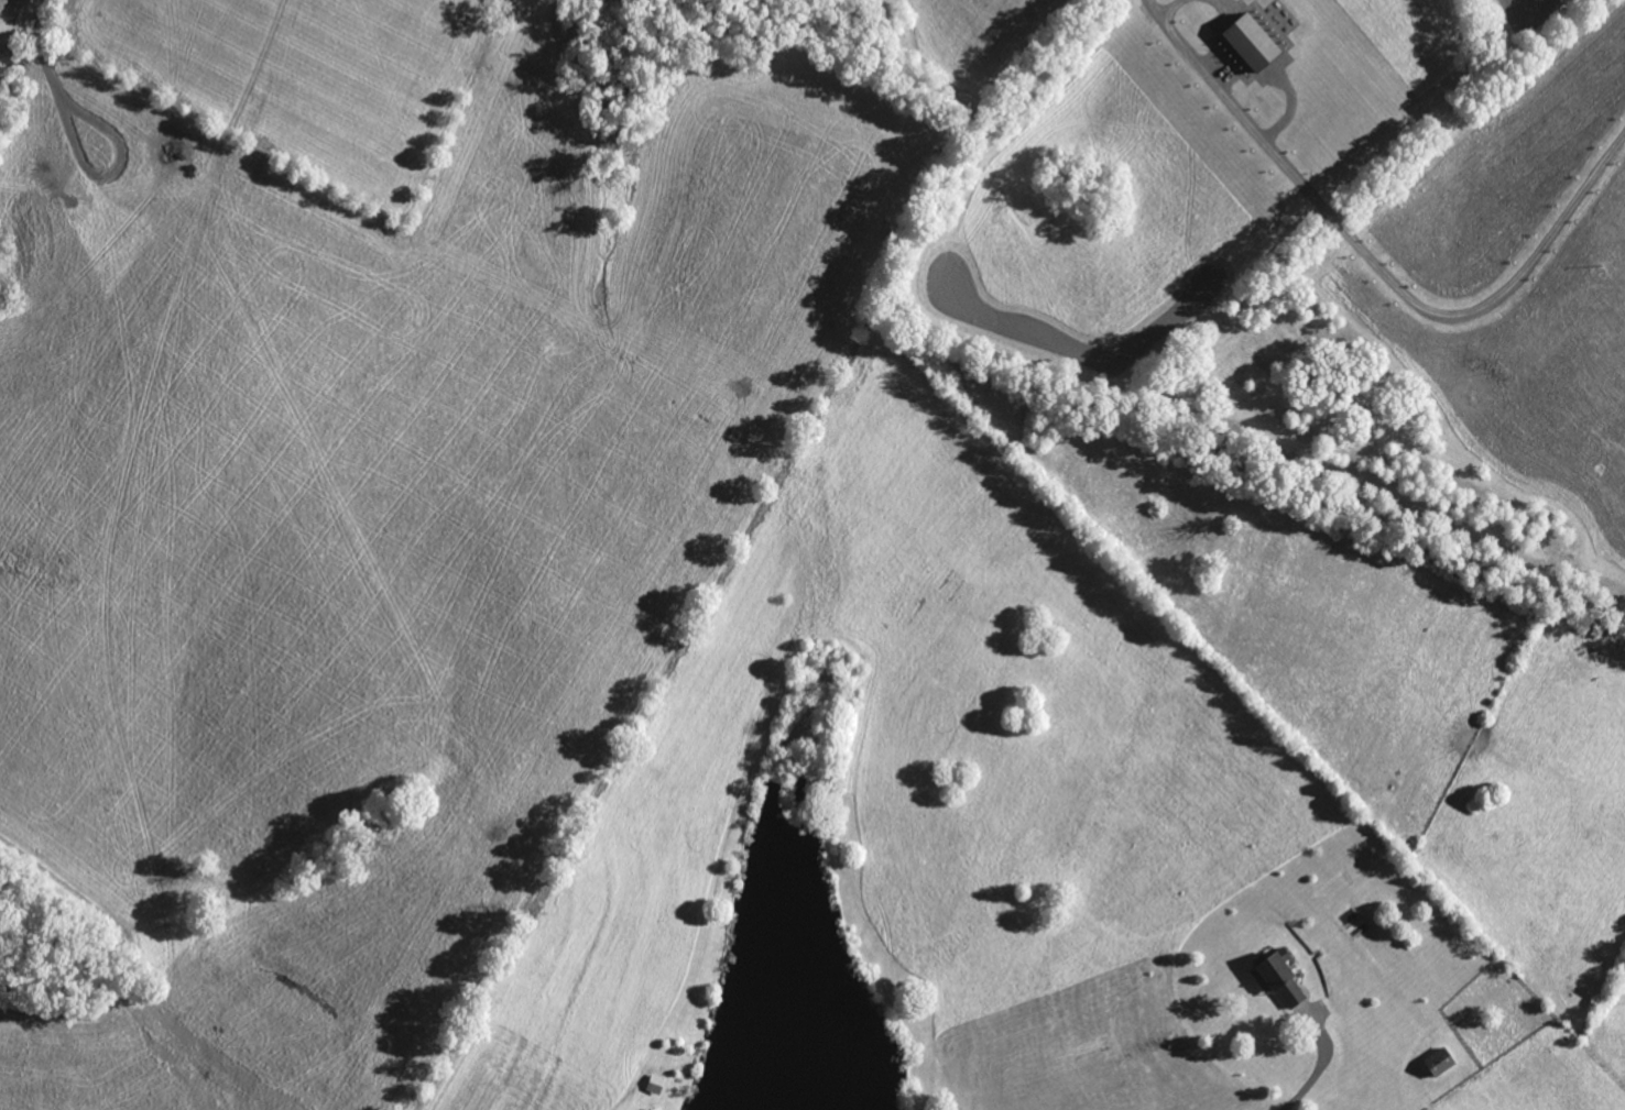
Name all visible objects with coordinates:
building: (1258, 45)
crop: (982, 846)
building: (1284, 980)
building: (1446, 1062)
road: (1321, 1066)
building: (659, 1085)

